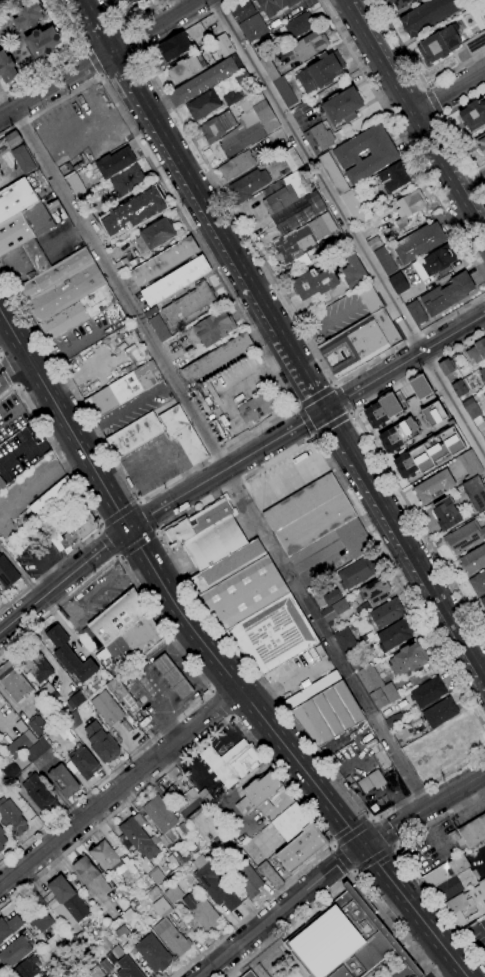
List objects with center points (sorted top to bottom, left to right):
building: (125, 0)
building: (129, 1)
building: (398, 3)
building: (483, 4)
building: (275, 6)
building: (242, 11)
building: (429, 15)
building: (28, 16)
building: (277, 19)
road: (131, 20)
building: (296, 26)
building: (253, 28)
road: (104, 35)
road: (131, 39)
building: (42, 42)
building: (475, 43)
building: (439, 44)
building: (223, 45)
building: (310, 45)
building: (173, 47)
building: (214, 56)
road: (99, 59)
road: (68, 60)
road: (92, 64)
road: (120, 67)
building: (186, 67)
building: (6, 68)
building: (269, 69)
building: (320, 71)
road: (416, 73)
building: (241, 77)
building: (205, 80)
road: (425, 89)
building: (284, 92)
road: (449, 93)
building: (233, 97)
building: (255, 98)
road: (432, 102)
building: (203, 105)
building: (245, 106)
building: (343, 106)
building: (263, 112)
building: (474, 114)
road: (439, 115)
road: (416, 118)
building: (270, 126)
building: (217, 127)
road: (448, 133)
road: (403, 137)
building: (318, 138)
building: (10, 139)
building: (243, 139)
building: (480, 143)
building: (383, 156)
building: (23, 159)
building: (292, 159)
building: (114, 162)
building: (235, 165)
building: (276, 167)
building: (332, 174)
building: (394, 177)
building: (127, 181)
building: (74, 185)
building: (248, 185)
road: (168, 194)
building: (16, 199)
building: (279, 200)
road: (201, 204)
building: (370, 205)
building: (354, 207)
building: (408, 207)
building: (56, 211)
building: (298, 213)
flagpole: (247, 219)
building: (332, 221)
flagpole: (249, 224)
building: (23, 227)
building: (318, 228)
flagpole: (252, 229)
road: (349, 232)
building: (155, 236)
building: (418, 243)
building: (374, 244)
building: (295, 246)
road: (255, 250)
building: (35, 258)
building: (440, 260)
building: (135, 261)
building: (164, 261)
building: (384, 261)
building: (122, 265)
building: (422, 269)
building: (353, 272)
building: (175, 281)
building: (314, 283)
building: (398, 283)
building: (447, 294)
building: (66, 295)
building: (370, 299)
building: (189, 303)
building: (150, 312)
building: (416, 312)
building: (159, 328)
building: (214, 328)
building: (361, 343)
road: (66, 349)
building: (477, 352)
road: (50, 354)
building: (217, 358)
road: (404, 361)
road: (13, 367)
building: (446, 367)
road: (8, 369)
road: (32, 370)
building: (482, 373)
road: (0, 378)
road: (250, 378)
road: (16, 385)
building: (421, 386)
building: (460, 388)
building: (123, 389)
building: (213, 394)
road: (314, 394)
road: (344, 399)
building: (390, 404)
building: (257, 405)
traffic signals: (323, 409)
building: (473, 412)
building: (376, 413)
building: (434, 415)
road: (63, 418)
road: (304, 422)
building: (225, 424)
road: (332, 424)
road: (238, 430)
building: (407, 430)
building: (182, 434)
building: (134, 435)
building: (453, 439)
building: (390, 440)
building: (484, 441)
road: (55, 448)
building: (437, 450)
road: (222, 455)
road: (379, 458)
building: (422, 458)
road: (115, 460)
building: (470, 464)
building: (406, 466)
road: (225, 468)
road: (49, 479)
building: (2, 484)
building: (433, 486)
building: (475, 493)
building: (51, 497)
road: (137, 501)
road: (140, 502)
building: (73, 507)
road: (118, 513)
building: (446, 514)
road: (148, 515)
building: (308, 515)
road: (170, 523)
traffic signals: (128, 527)
road: (100, 528)
building: (61, 529)
road: (156, 530)
building: (78, 532)
road: (98, 532)
road: (155, 532)
building: (205, 534)
building: (465, 537)
road: (107, 545)
road: (137, 545)
building: (333, 546)
road: (403, 546)
road: (116, 557)
road: (118, 557)
building: (473, 560)
building: (227, 566)
road: (49, 570)
building: (356, 573)
building: (7, 574)
road: (63, 578)
building: (478, 583)
building: (374, 591)
building: (244, 593)
building: (332, 597)
building: (483, 602)
building: (334, 611)
building: (387, 614)
building: (115, 620)
building: (395, 634)
building: (142, 635)
building: (273, 635)
building: (344, 639)
building: (70, 656)
building: (355, 659)
building: (407, 659)
building: (34, 664)
road: (205, 671)
road: (199, 674)
road: (143, 675)
building: (173, 677)
gas station: (173, 677)
building: (369, 680)
building: (397, 680)
building: (13, 681)
road: (197, 686)
road: (238, 690)
building: (312, 691)
building: (428, 692)
building: (48, 693)
building: (384, 696)
building: (123, 697)
building: (74, 699)
road: (220, 704)
building: (106, 708)
building: (439, 713)
building: (328, 714)
building: (72, 720)
building: (394, 720)
building: (37, 726)
building: (126, 726)
building: (101, 743)
road: (253, 744)
building: (0, 746)
building: (37, 750)
building: (2, 756)
building: (380, 757)
building: (84, 763)
building: (232, 763)
building: (15, 768)
building: (63, 781)
building: (369, 781)
road: (120, 789)
building: (38, 793)
building: (257, 793)
building: (172, 794)
building: (205, 797)
building: (276, 804)
road: (422, 806)
building: (198, 815)
building: (11, 818)
road: (370, 820)
road: (374, 821)
building: (164, 825)
building: (183, 830)
building: (473, 832)
road: (384, 833)
road: (352, 834)
building: (137, 839)
building: (297, 839)
building: (2, 840)
building: (454, 840)
road: (333, 845)
traffic signals: (362, 845)
road: (393, 846)
road: (332, 848)
road: (393, 848)
building: (462, 850)
building: (105, 857)
road: (342, 860)
road: (373, 860)
road: (406, 863)
road: (351, 872)
road: (355, 873)
building: (156, 875)
building: (270, 875)
building: (91, 876)
building: (450, 878)
building: (248, 880)
building: (144, 882)
road: (340, 882)
building: (482, 885)
building: (216, 886)
building: (173, 894)
building: (67, 900)
building: (34, 903)
building: (159, 903)
building: (466, 906)
road: (280, 910)
road: (413, 910)
building: (201, 912)
building: (128, 914)
building: (41, 922)
building: (9, 927)
building: (122, 934)
building: (83, 938)
building: (172, 938)
building: (345, 939)
building: (70, 945)
building: (15, 951)
building: (153, 953)
building: (58, 957)
road: (418, 960)
building: (105, 966)
building: (26, 968)
building: (87, 968)
building: (127, 968)
building: (94, 974)
building: (249, 974)
road: (456, 974)
building: (43, 976)

